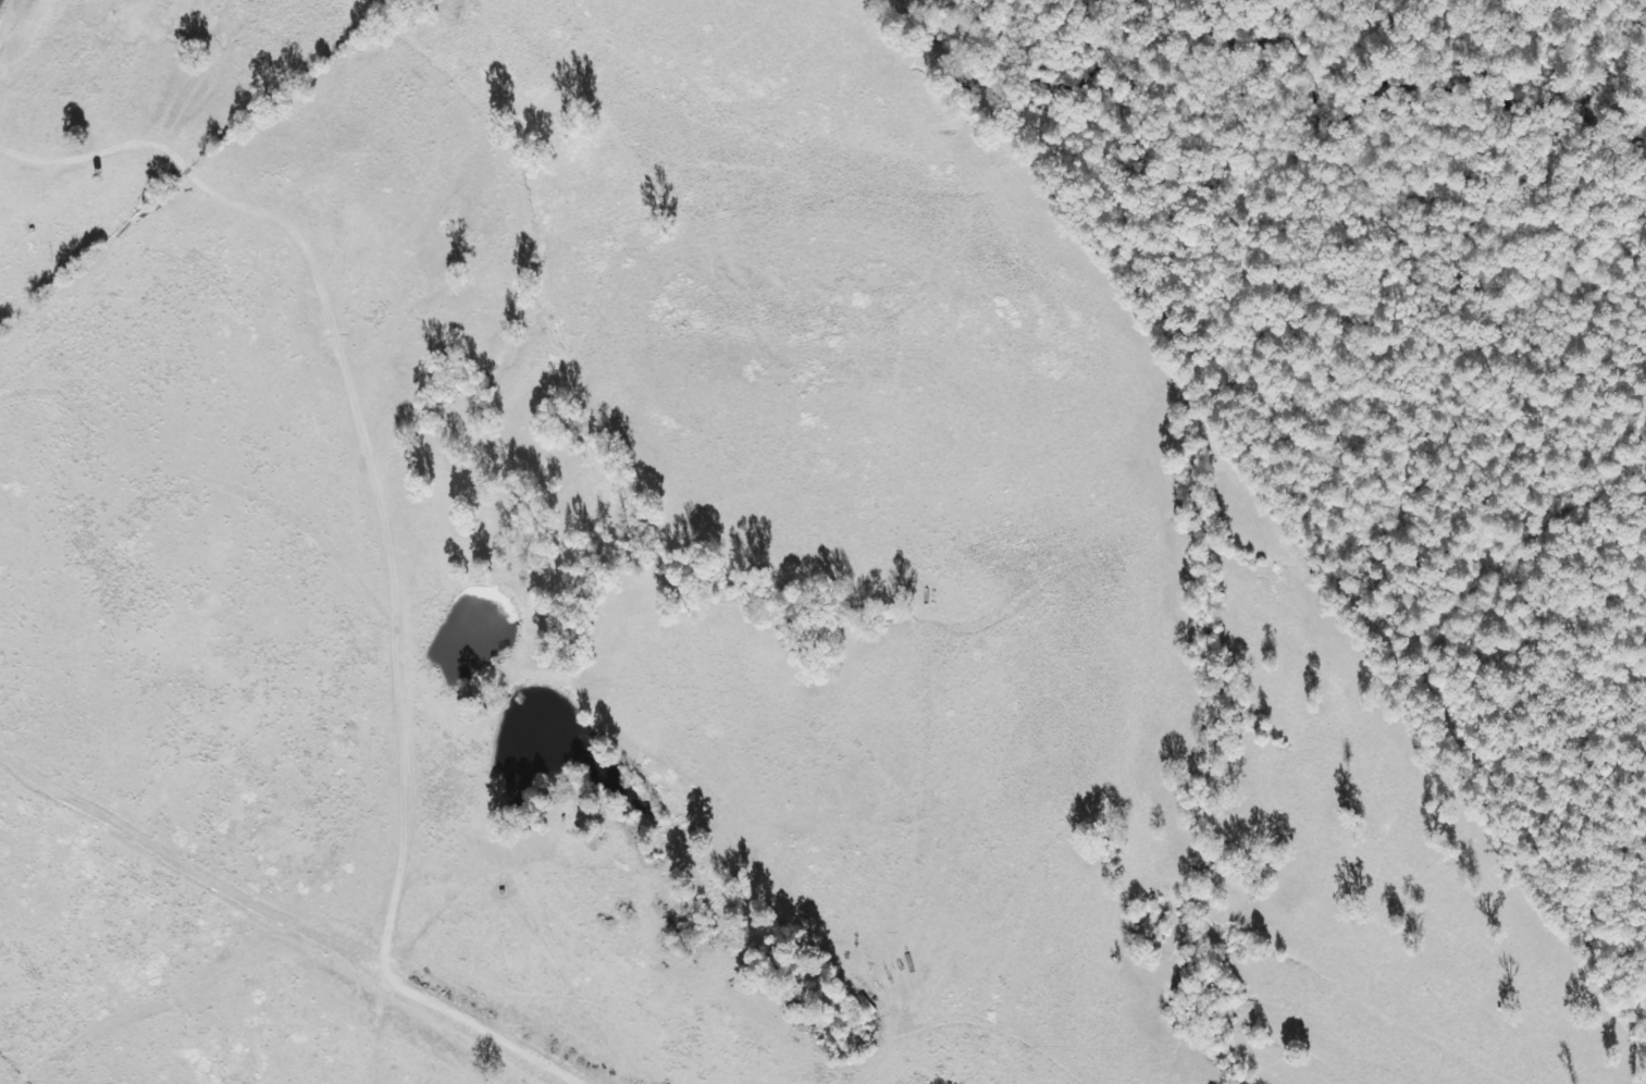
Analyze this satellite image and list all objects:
road: (292, 911)

